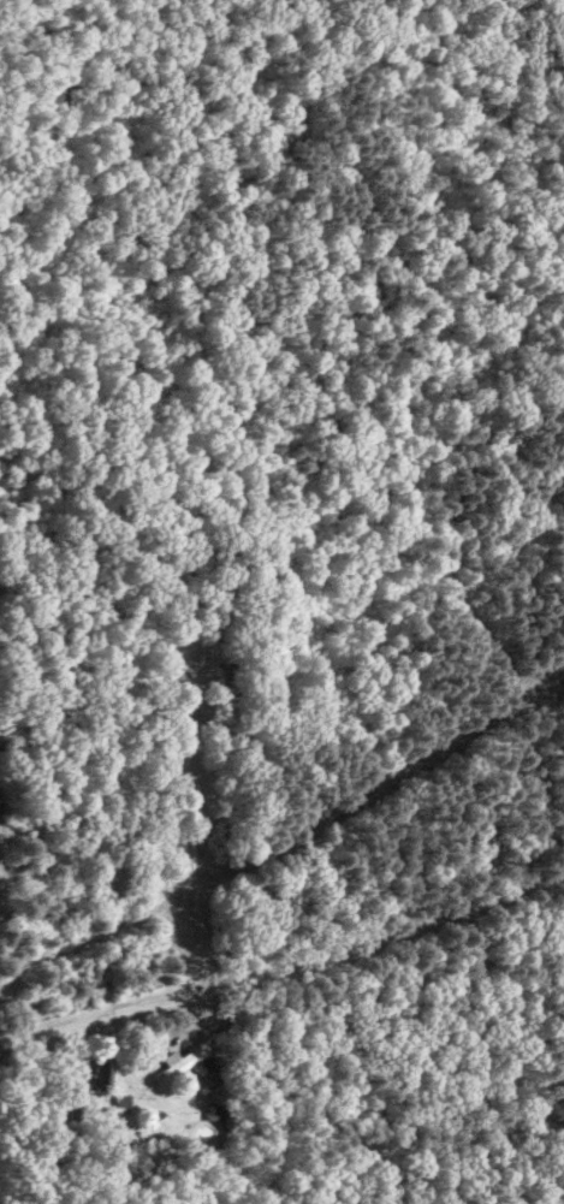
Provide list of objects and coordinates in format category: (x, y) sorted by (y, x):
road: (206, 711)
road: (196, 962)
road: (284, 965)
building: (184, 1062)
building: (103, 1069)
building: (123, 1099)

